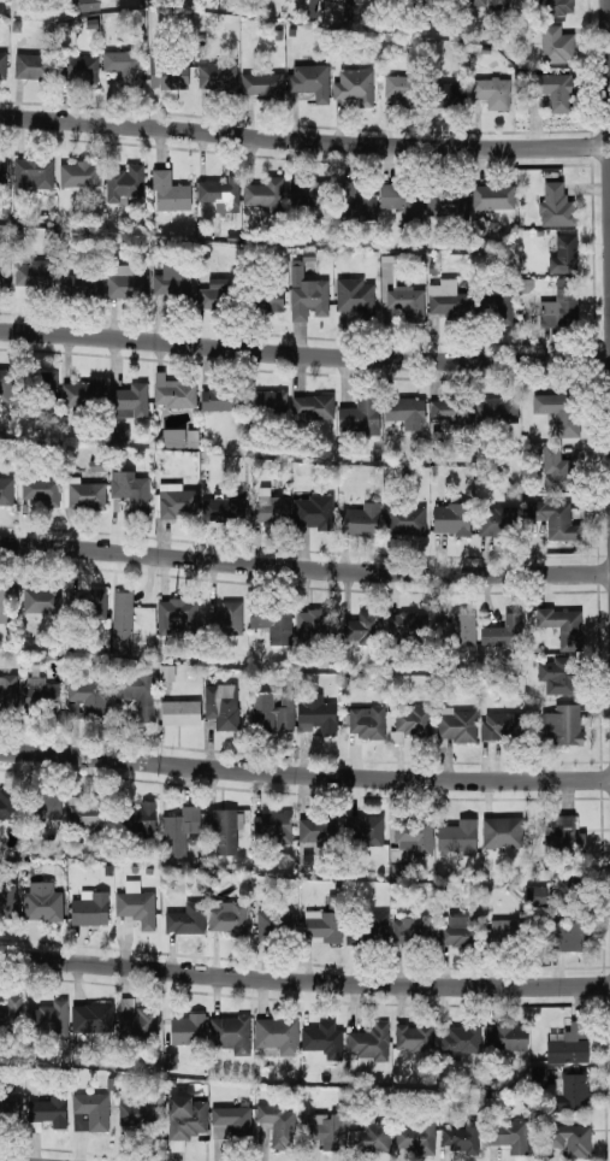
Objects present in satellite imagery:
building: (88, 4)
building: (490, 4)
building: (557, 6)
building: (312, 7)
building: (556, 43)
building: (2, 64)
building: (124, 64)
building: (31, 65)
building: (78, 67)
building: (167, 71)
building: (218, 76)
building: (310, 79)
building: (261, 82)
building: (353, 86)
building: (402, 88)
building: (551, 88)
building: (492, 92)
building: (448, 94)
road: (302, 140)
building: (1, 169)
building: (32, 172)
building: (79, 172)
road: (606, 181)
building: (124, 182)
building: (170, 191)
building: (307, 191)
building: (265, 193)
building: (221, 195)
building: (493, 195)
building: (354, 201)
building: (402, 201)
building: (448, 202)
building: (556, 205)
building: (563, 253)
building: (4, 266)
building: (31, 272)
building: (172, 277)
building: (124, 279)
building: (81, 284)
building: (307, 294)
building: (354, 294)
building: (446, 296)
building: (212, 297)
building: (268, 297)
building: (407, 301)
building: (493, 303)
building: (559, 307)
road: (304, 353)
building: (5, 384)
building: (41, 384)
building: (173, 391)
building: (83, 393)
building: (219, 399)
building: (130, 400)
building: (266, 402)
building: (313, 406)
building: (449, 409)
building: (496, 409)
building: (405, 411)
building: (559, 411)
building: (360, 416)
building: (179, 436)
building: (555, 467)
building: (6, 489)
building: (41, 489)
building: (130, 489)
building: (85, 493)
building: (174, 500)
building: (270, 506)
building: (224, 508)
building: (313, 511)
building: (451, 518)
building: (556, 518)
building: (361, 519)
building: (405, 519)
building: (494, 519)
road: (304, 567)
building: (42, 599)
building: (5, 601)
building: (88, 603)
building: (177, 614)
building: (225, 618)
building: (122, 621)
building: (273, 623)
building: (314, 624)
building: (563, 625)
building: (361, 626)
building: (405, 626)
building: (455, 627)
building: (503, 631)
building: (165, 673)
building: (557, 673)
building: (7, 689)
building: (136, 693)
building: (41, 695)
building: (84, 696)
building: (221, 705)
building: (180, 711)
building: (271, 711)
building: (316, 712)
building: (366, 720)
building: (411, 720)
building: (457, 724)
building: (501, 724)
building: (562, 724)
road: (304, 773)
building: (7, 802)
building: (45, 805)
building: (84, 812)
building: (140, 817)
building: (271, 826)
building: (316, 827)
building: (223, 829)
building: (179, 830)
building: (363, 830)
building: (502, 831)
building: (414, 833)
building: (563, 835)
building: (457, 836)
building: (535, 894)
building: (7, 897)
building: (42, 901)
building: (136, 903)
building: (90, 908)
building: (230, 917)
building: (185, 918)
building: (276, 921)
building: (322, 924)
building: (367, 929)
building: (434, 930)
building: (507, 930)
building: (565, 935)
road: (304, 978)
building: (11, 1013)
building: (91, 1016)
building: (48, 1018)
building: (135, 1019)
building: (188, 1027)
building: (231, 1032)
building: (277, 1033)
building: (414, 1036)
building: (505, 1036)
building: (322, 1038)
building: (460, 1038)
building: (369, 1042)
building: (569, 1043)
building: (538, 1074)
building: (574, 1089)
building: (10, 1106)
building: (93, 1108)
building: (48, 1109)
building: (136, 1114)
building: (185, 1115)
building: (79, 1120)
building: (231, 1121)
building: (278, 1124)
building: (327, 1128)
building: (508, 1135)
building: (369, 1137)
building: (415, 1137)
building: (461, 1137)
building: (569, 1138)

